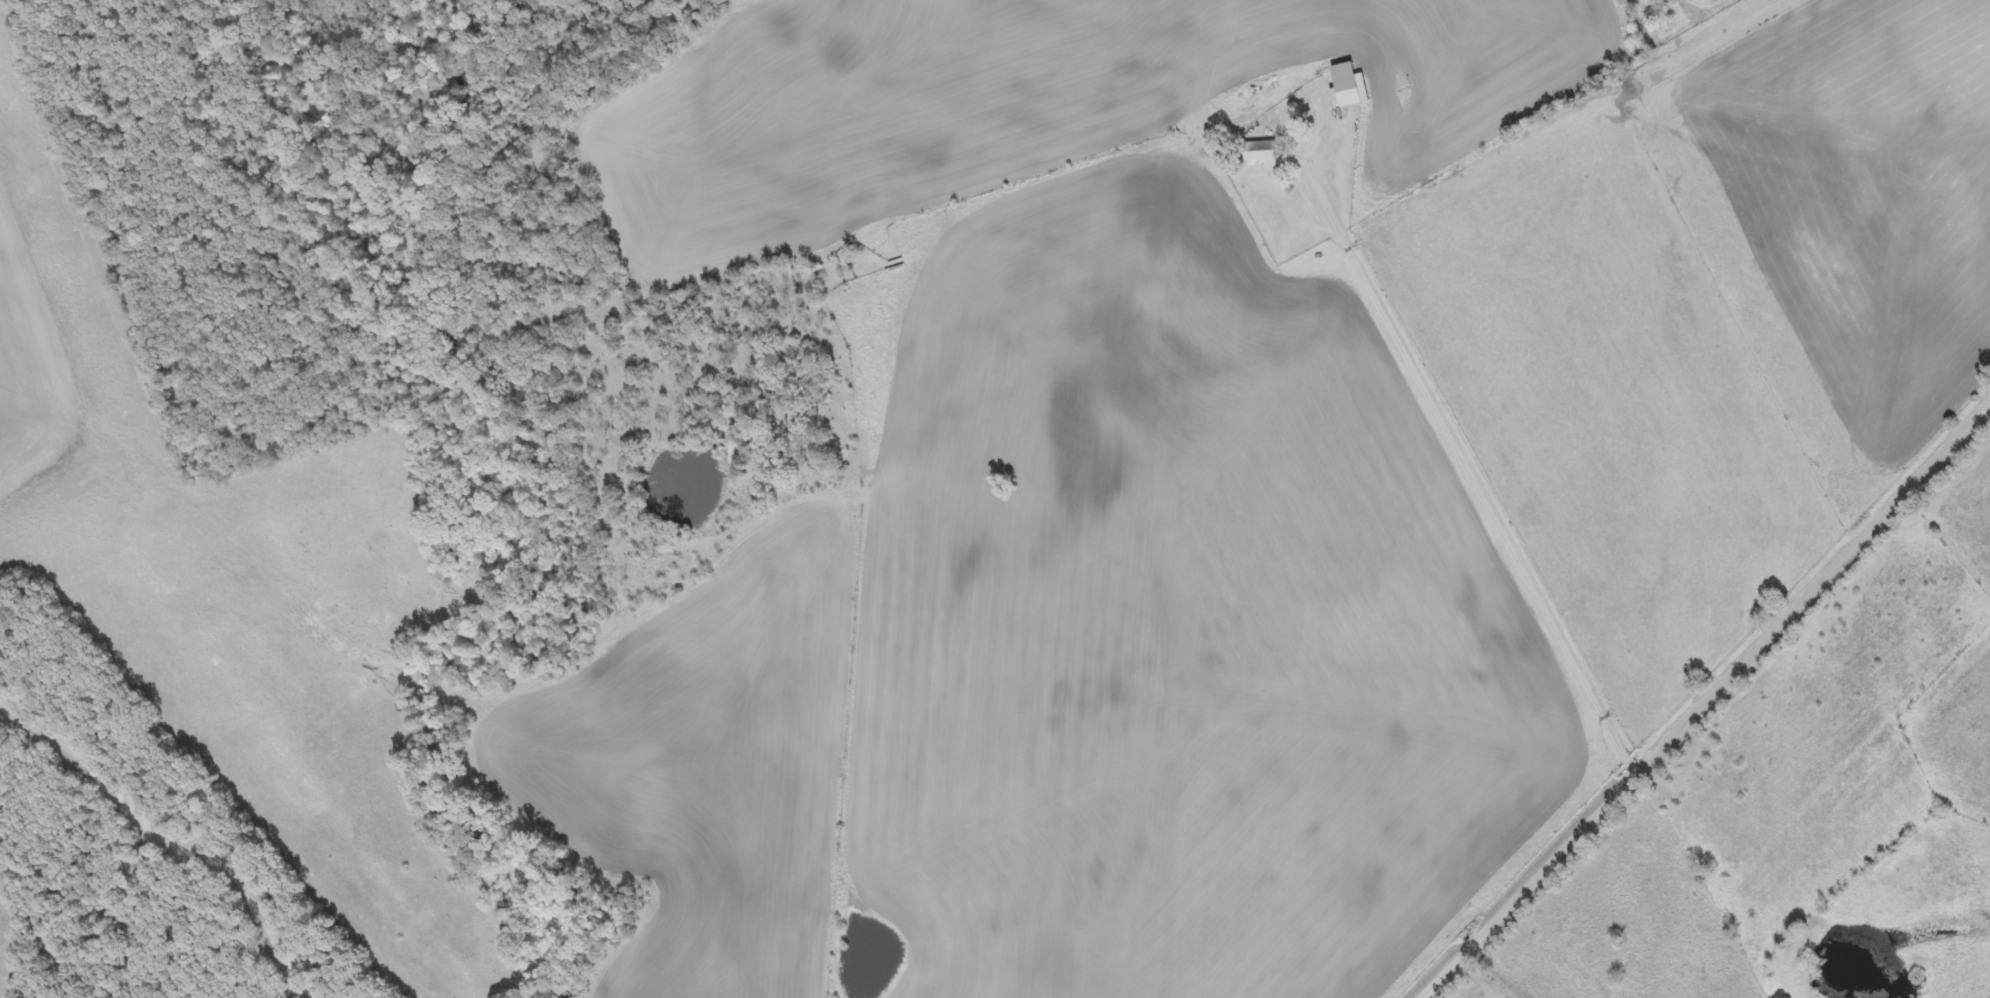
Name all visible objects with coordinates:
building: (1351, 87)
building: (1264, 155)
road: (1712, 706)

